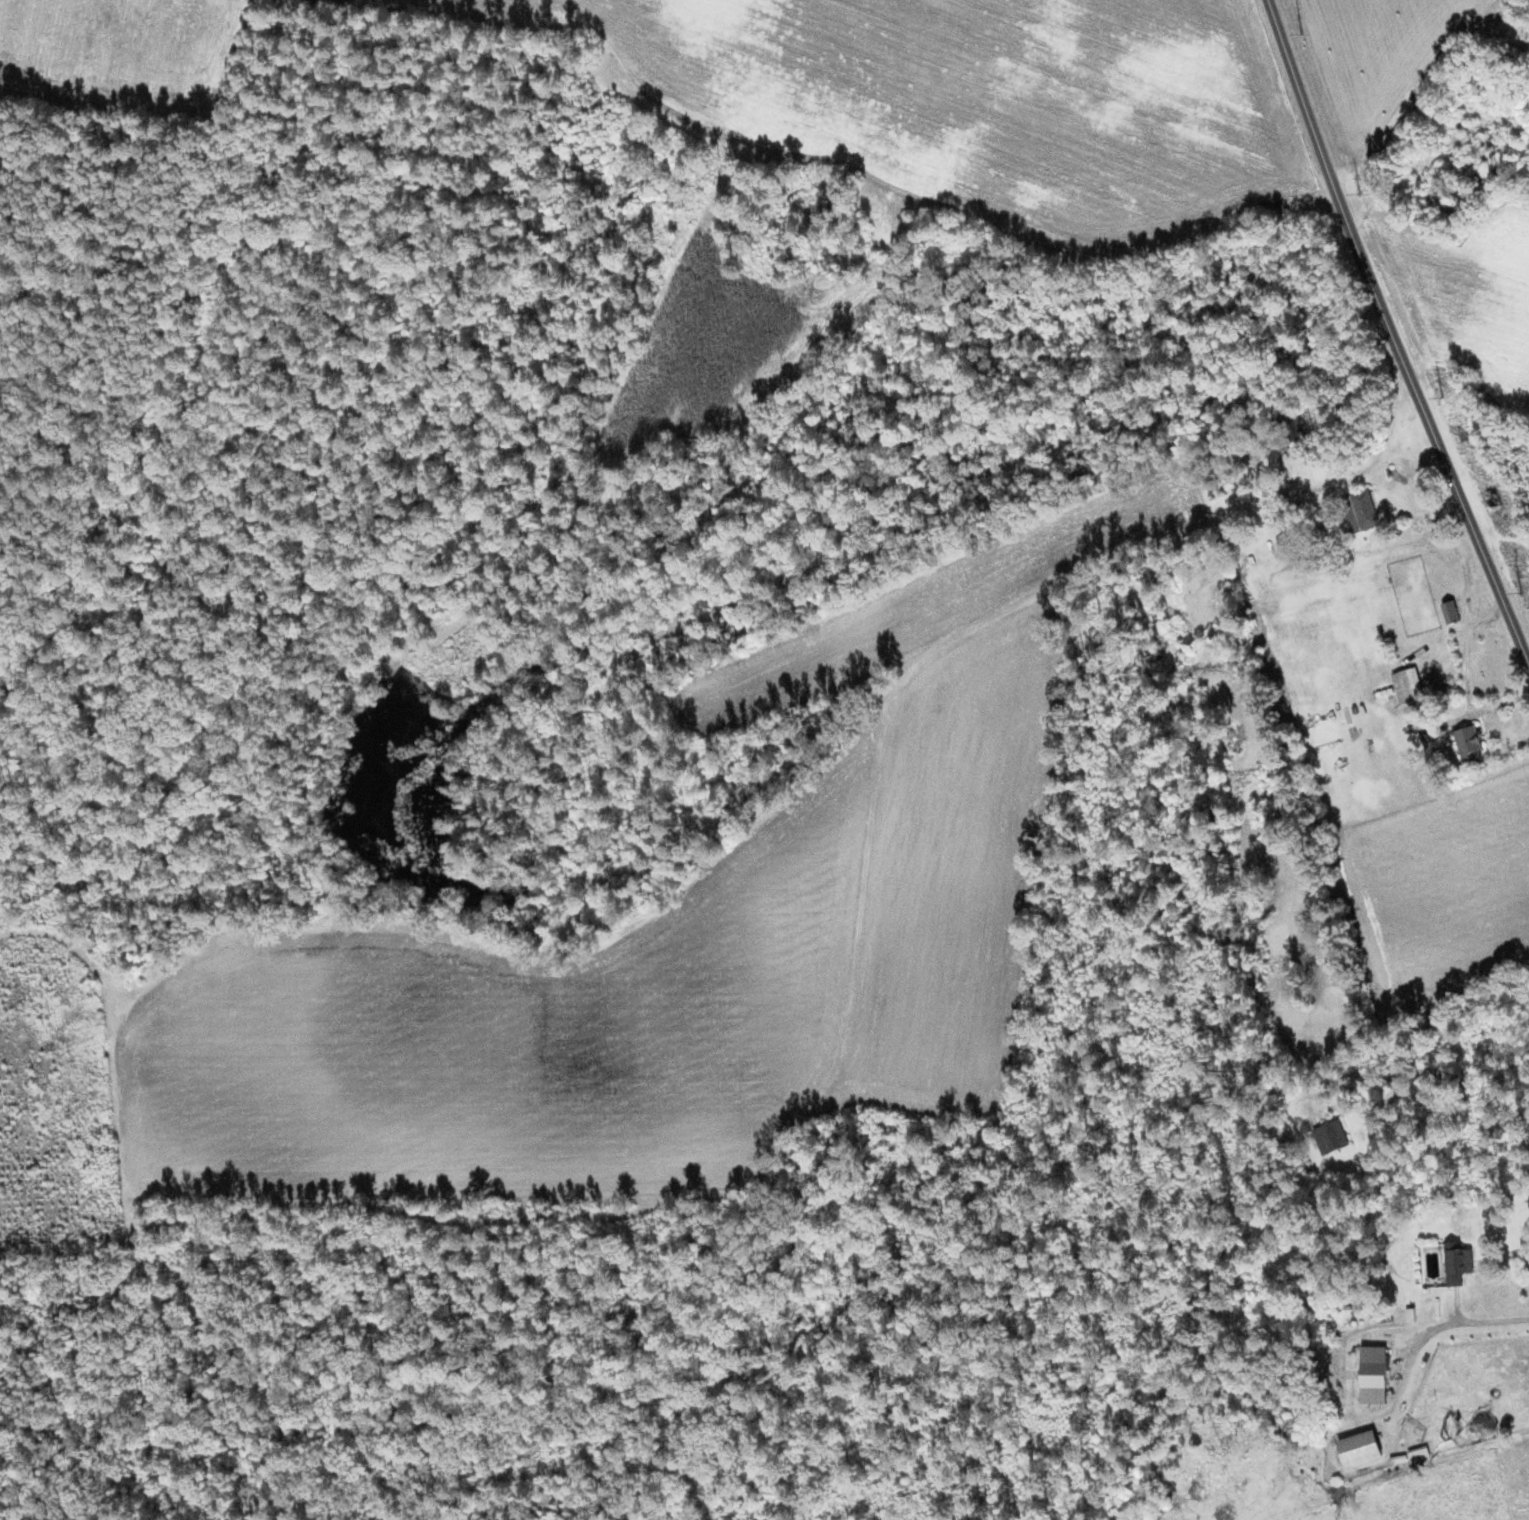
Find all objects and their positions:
road: (1393, 331)
building: (1359, 511)
building: (1450, 612)
building: (1408, 685)
building: (1425, 735)
building: (1468, 741)
road: (1427, 1071)
building: (1331, 1137)
building: (1458, 1262)
building: (1374, 1374)
building: (1360, 1447)
building: (1418, 1453)

